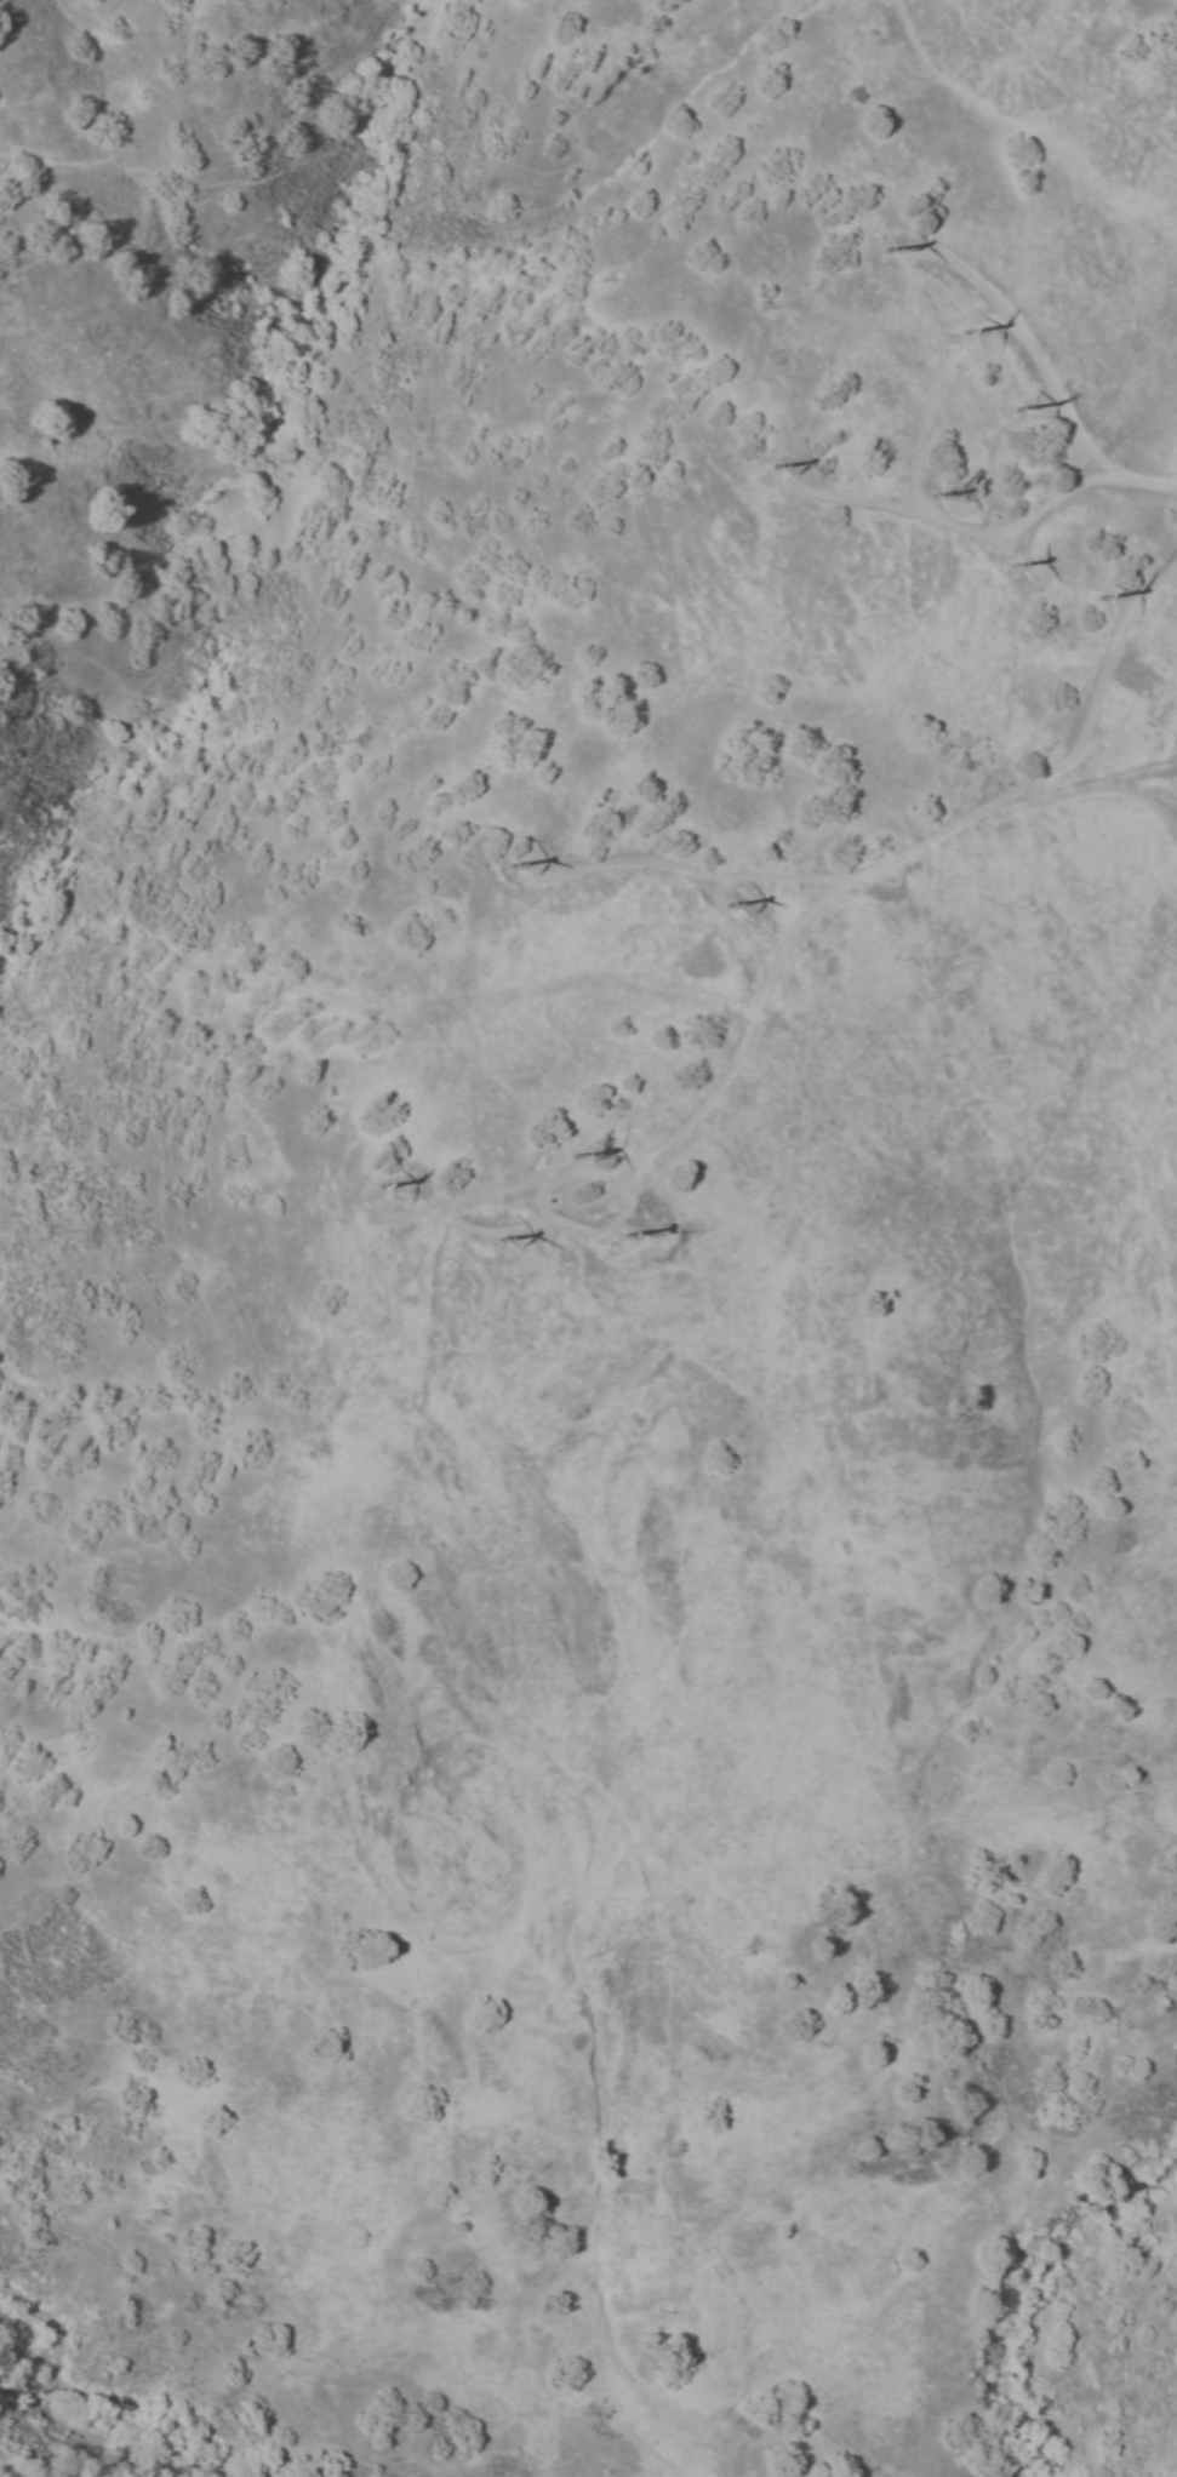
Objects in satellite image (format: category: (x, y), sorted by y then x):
wind turbine: (881, 251)
road: (933, 254)
wind turbine: (956, 333)
wind turbine: (1017, 411)
wind turbine: (770, 474)
wind turbine: (922, 513)
road: (993, 534)
wind turbine: (1005, 566)
road: (1057, 577)
wind turbine: (1090, 605)
road: (1104, 789)
wind turbine: (501, 866)
road: (691, 869)
wind turbine: (724, 902)
road: (795, 925)
road: (1167, 1154)
wind turbine: (573, 1155)
wind turbine: (377, 1185)
road: (595, 1228)
wind turbine: (625, 1235)
wind turbine: (498, 1240)
road: (1170, 1276)
wind turbine: (1176, 1291)

